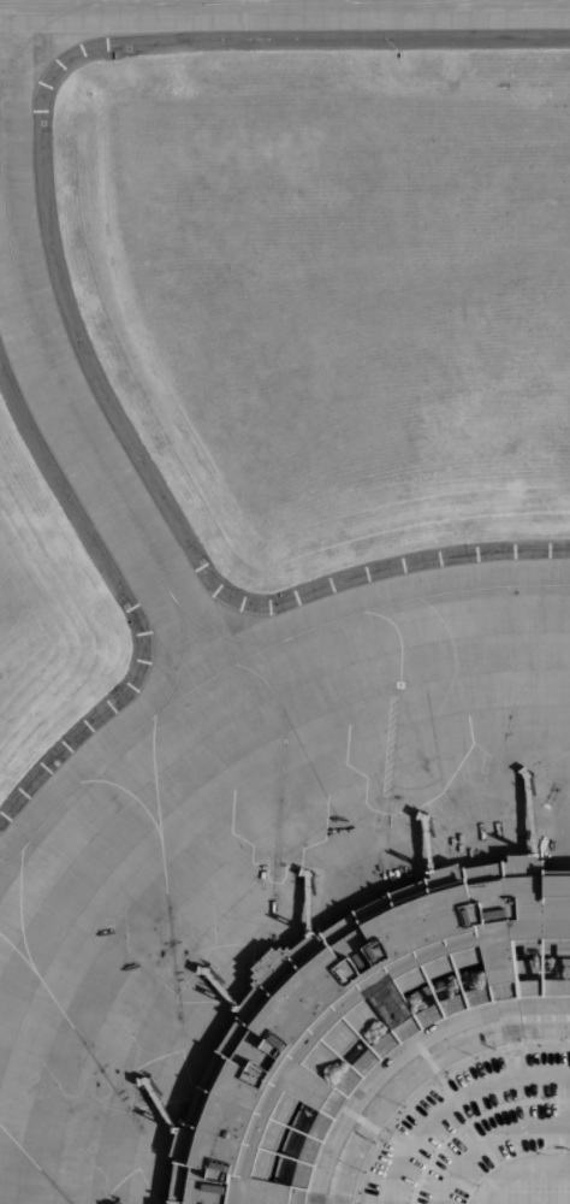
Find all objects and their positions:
airport taxiway: (345, 1)
airport taxiway: (168, 2)
airport taxiway: (285, 4)
airport taxiway: (78, 5)
airport taxiway: (34, 36)
airport taxiway: (54, 390)
airport: (285, 602)
airport taxiway: (357, 616)
airport taxiway: (230, 636)
airport taxiway: (174, 669)
airport taxiway: (440, 709)
airport taxiway: (152, 748)
airport taxiway: (280, 754)
airport taxiway: (539, 755)
airport taxiway: (126, 796)
airport apron: (254, 832)
airport taxiway: (22, 908)
road: (545, 949)
airport terminal: (346, 1010)
building: (346, 1011)
airport taxiway: (69, 1022)
road: (343, 1027)
road: (403, 1053)
road: (418, 1069)
road: (451, 1100)
road: (564, 1117)
parking lot: (482, 1138)
road: (487, 1138)
airport taxiway: (32, 1167)
road: (515, 1168)

